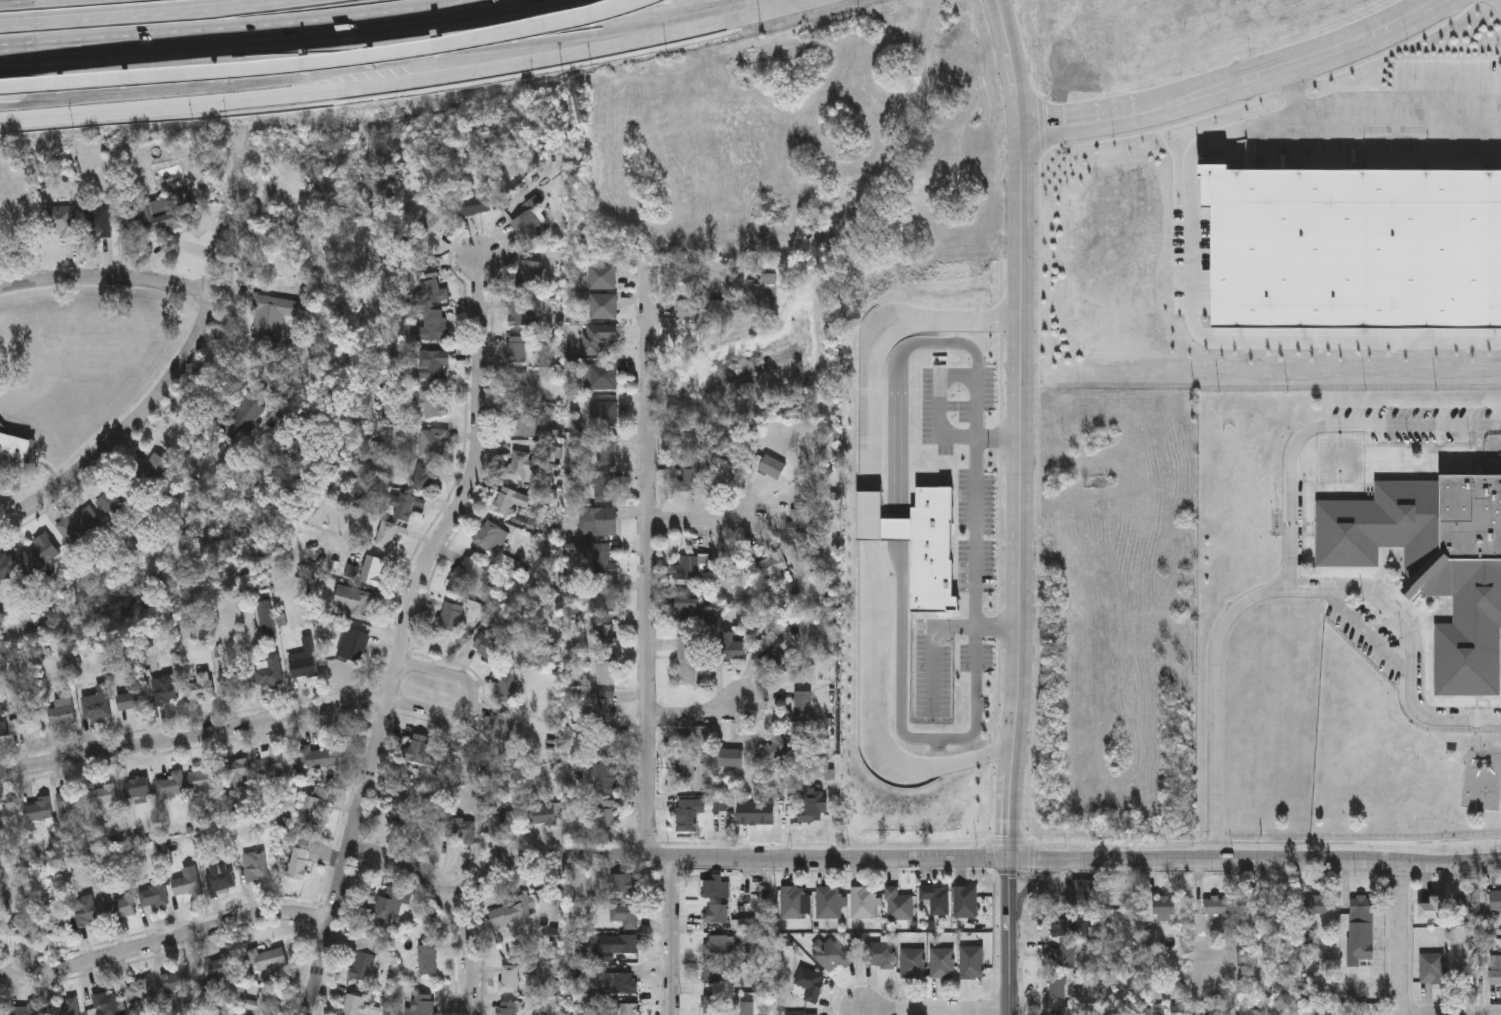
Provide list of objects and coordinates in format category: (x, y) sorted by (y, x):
road: (152, 15)
road: (688, 27)
road: (261, 32)
road: (531, 49)
road: (281, 60)
road: (37, 62)
road: (324, 62)
road: (1234, 83)
road: (288, 90)
road: (1293, 91)
road: (1399, 115)
road: (229, 200)
building: (473, 205)
building: (157, 216)
building: (60, 220)
building: (99, 222)
building: (437, 222)
building: (527, 225)
building: (759, 274)
building: (531, 275)
building: (602, 278)
road: (107, 280)
building: (431, 288)
building: (602, 307)
building: (526, 312)
building: (273, 317)
building: (431, 327)
road: (1202, 337)
building: (597, 339)
road: (877, 343)
building: (515, 350)
building: (433, 366)
building: (600, 377)
building: (516, 386)
road: (937, 398)
building: (432, 404)
building: (602, 414)
building: (241, 420)
building: (519, 423)
road: (1018, 428)
road: (1324, 431)
road: (126, 433)
building: (432, 445)
building: (728, 449)
building: (606, 451)
building: (14, 454)
building: (771, 468)
building: (152, 471)
building: (693, 477)
building: (423, 478)
building: (603, 487)
building: (115, 500)
building: (508, 501)
building: (404, 507)
building: (799, 518)
road: (869, 519)
road: (697, 521)
building: (599, 524)
building: (80, 525)
building: (386, 537)
building: (490, 538)
building: (39, 552)
road: (976, 552)
building: (603, 561)
road: (646, 561)
building: (770, 565)
building: (1434, 565)
building: (7, 567)
building: (693, 568)
building: (372, 571)
building: (467, 576)
road: (898, 580)
building: (606, 601)
building: (354, 603)
building: (686, 615)
building: (451, 617)
building: (265, 618)
road: (402, 634)
building: (603, 637)
road: (1411, 642)
building: (769, 644)
road: (929, 644)
building: (488, 645)
building: (353, 646)
building: (729, 648)
building: (303, 661)
building: (686, 661)
building: (787, 663)
building: (606, 670)
building: (233, 681)
building: (200, 687)
building: (506, 689)
building: (164, 691)
building: (133, 702)
road: (471, 703)
road: (1215, 703)
building: (95, 707)
building: (799, 707)
building: (604, 711)
building: (61, 713)
road: (695, 715)
road: (875, 719)
building: (2, 722)
building: (27, 723)
building: (498, 727)
road: (194, 736)
building: (606, 746)
building: (418, 749)
building: (772, 751)
building: (318, 758)
building: (730, 759)
building: (270, 764)
building: (684, 767)
building: (239, 774)
building: (603, 780)
building: (203, 781)
building: (171, 786)
building: (136, 789)
building: (103, 797)
building: (786, 802)
building: (69, 804)
building: (811, 806)
building: (401, 811)
building: (310, 812)
building: (687, 813)
building: (542, 816)
building: (8, 817)
building: (607, 817)
building: (501, 825)
building: (461, 830)
road: (967, 859)
building: (297, 865)
building: (254, 868)
building: (219, 879)
building: (624, 885)
road: (1033, 885)
building: (715, 886)
building: (185, 887)
building: (1076, 894)
building: (152, 897)
building: (936, 899)
building: (1495, 900)
road: (446, 901)
building: (793, 902)
building: (965, 902)
building: (829, 903)
building: (864, 903)
building: (1468, 904)
building: (899, 905)
building: (1314, 905)
building: (1164, 906)
building: (1214, 906)
building: (389, 907)
building: (1271, 907)
building: (1433, 908)
building: (118, 911)
building: (85, 912)
building: (717, 912)
building: (511, 915)
building: (624, 917)
building: (52, 921)
building: (1070, 925)
building: (19, 928)
building: (1359, 929)
road: (670, 937)
road: (1009, 937)
road: (1401, 938)
road: (164, 942)
building: (720, 942)
building: (626, 945)
building: (832, 955)
building: (880, 955)
building: (1061, 956)
building: (269, 961)
building: (427, 961)
building: (362, 962)
building: (972, 962)
building: (913, 963)
building: (943, 963)
building: (1431, 969)
building: (218, 970)
building: (712, 973)
building: (1495, 977)
building: (1462, 978)
building: (508, 980)
building: (176, 983)
building: (810, 983)
building: (624, 984)
building: (1056, 986)
building: (139, 992)
building: (712, 1002)
building: (591, 1003)
building: (353, 1004)
building: (105, 1005)
building: (259, 1005)
building: (424, 1005)
building: (65, 1008)
building: (747, 1008)
building: (508, 1009)
building: (0, 1010)
building: (623, 1010)
building: (23, 1011)
road: (935, 1012)
building: (1061, 1012)

